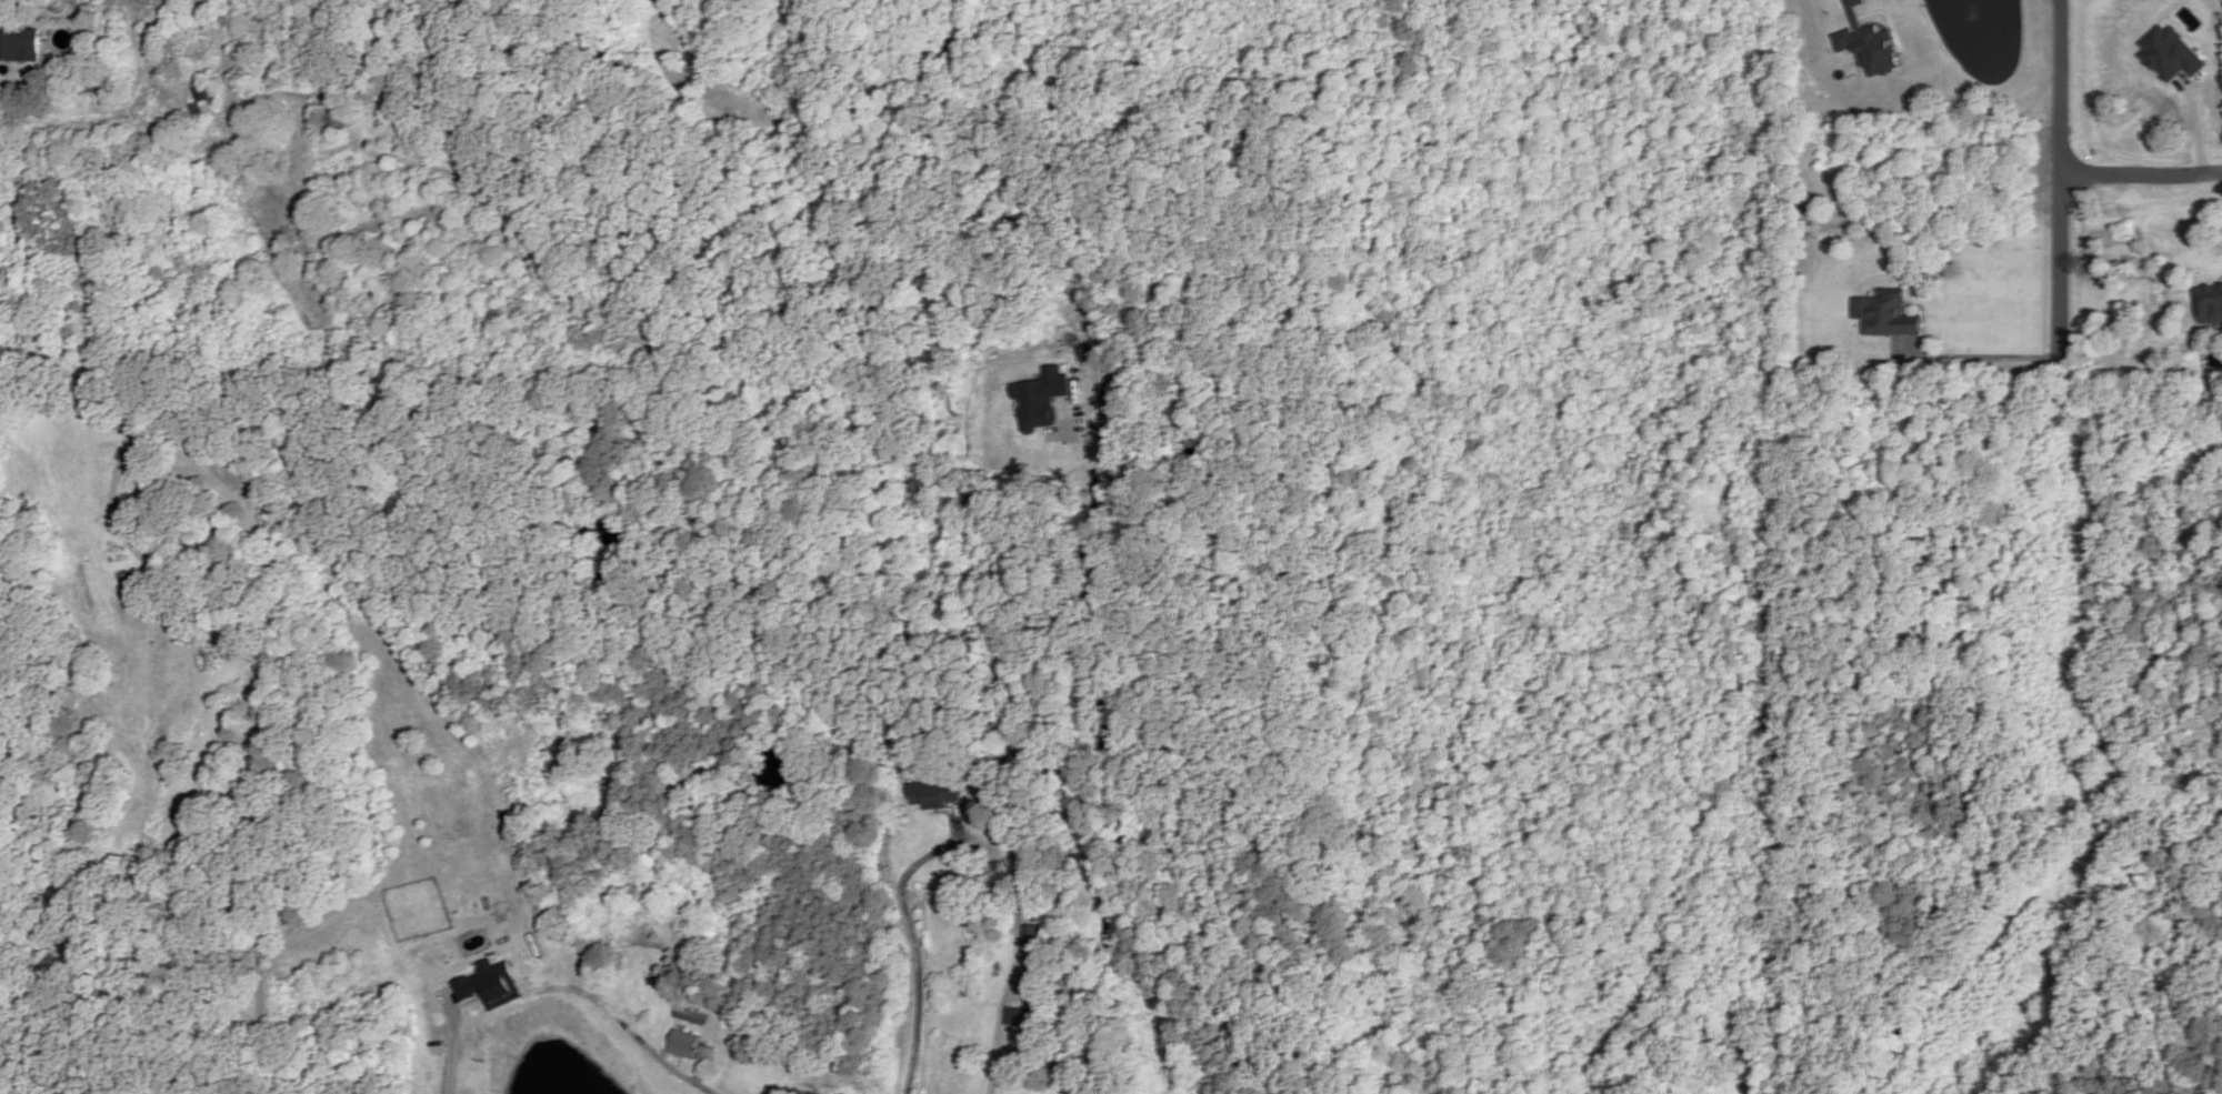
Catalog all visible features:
road: (1834, 9)
building: (1864, 38)
building: (24, 43)
building: (2170, 52)
building: (203, 90)
road: (2141, 174)
road: (2060, 182)
building: (2210, 303)
building: (1890, 315)
road: (1976, 358)
building: (1041, 398)
building: (121, 414)
road: (257, 734)
road: (1099, 756)
building: (934, 793)
building: (1032, 937)
road: (912, 939)
building: (492, 983)
road: (567, 990)
road: (1002, 1004)
building: (692, 1014)
building: (1028, 1018)
building: (684, 1044)

